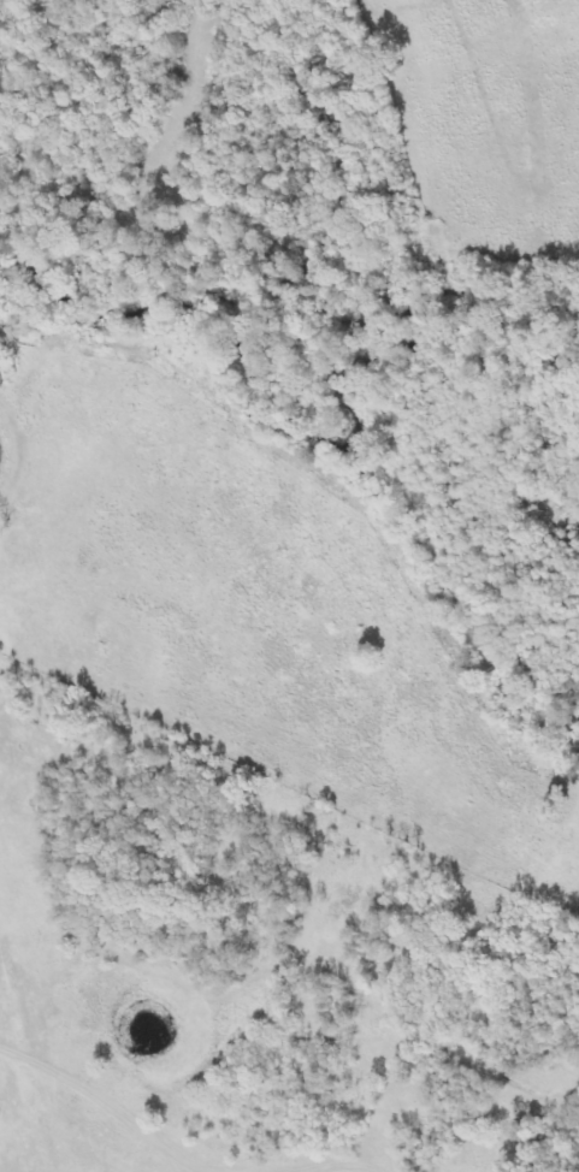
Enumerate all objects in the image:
railway: (45, 958)

